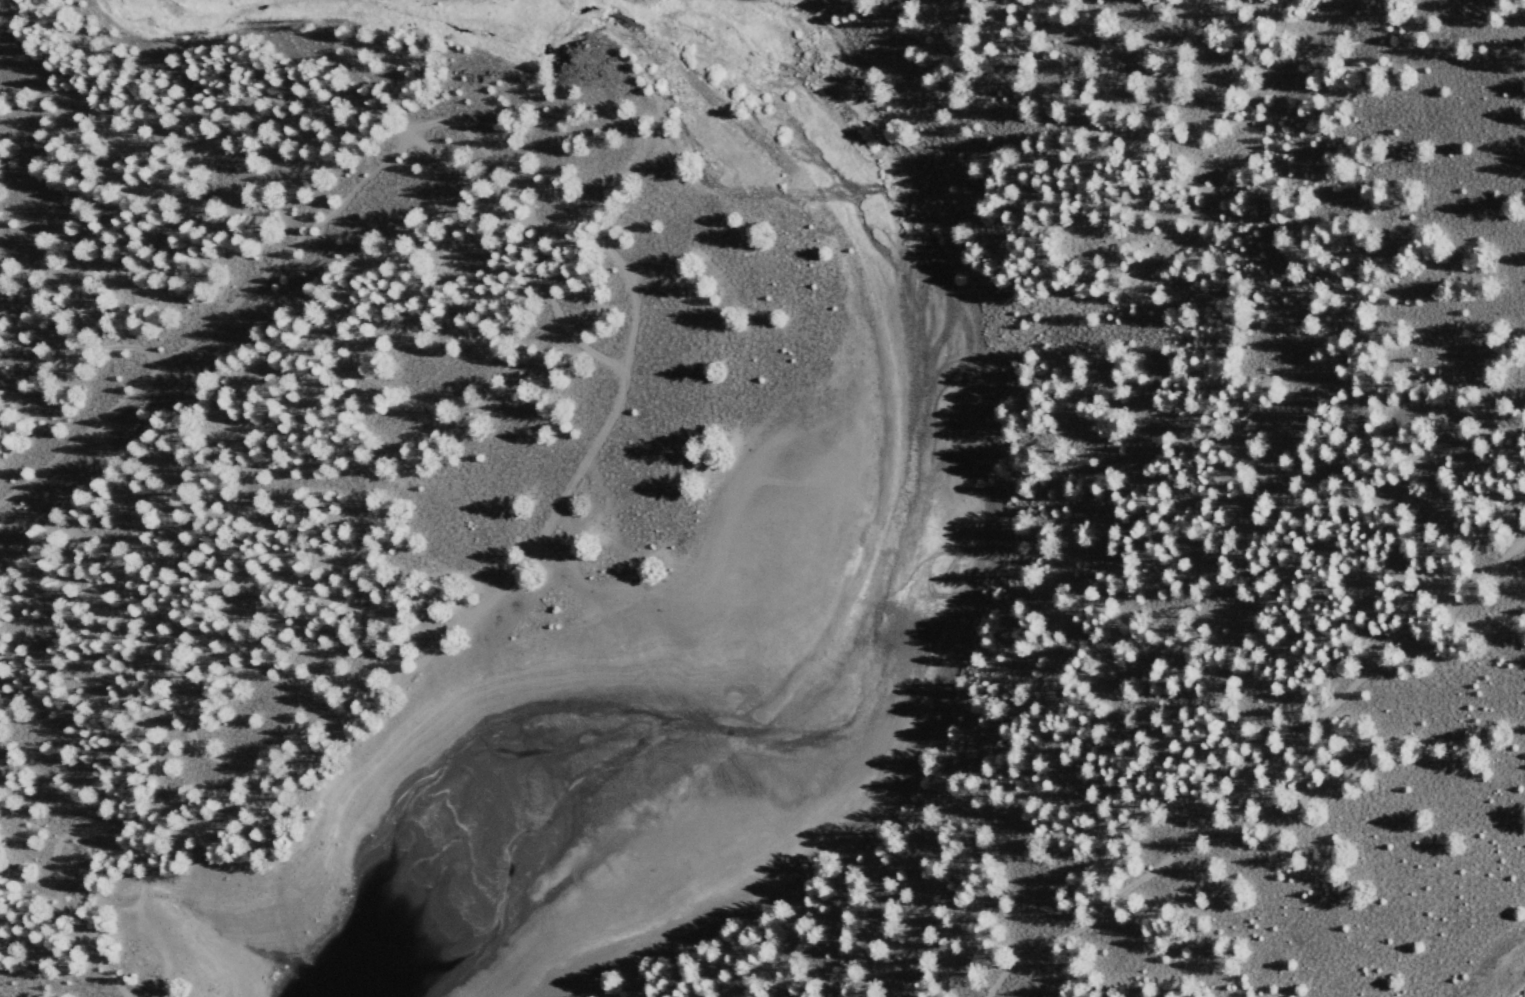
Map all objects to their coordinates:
road: (513, 196)
road: (490, 199)
road: (558, 314)
road: (211, 325)
road: (83, 354)
road: (601, 436)
road: (550, 570)
road: (574, 570)
road: (415, 632)
road: (1259, 766)
road: (100, 835)

